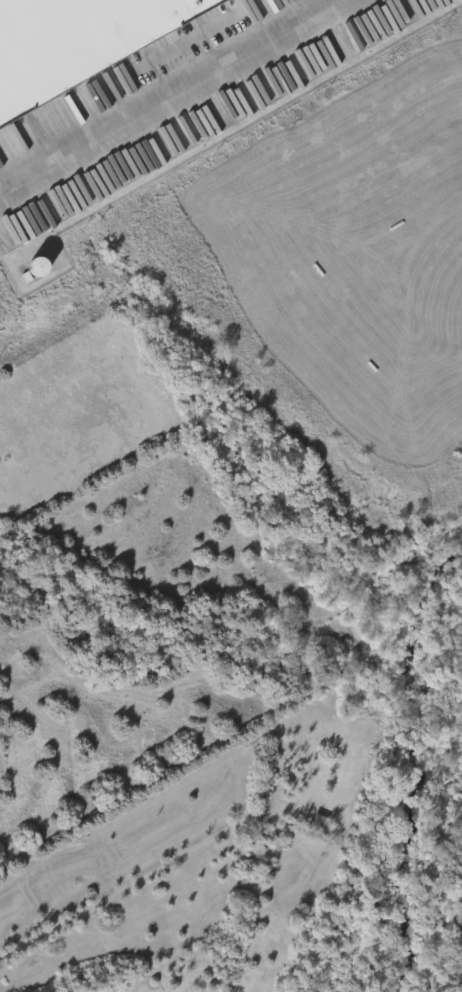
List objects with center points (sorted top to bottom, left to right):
building: (74, 42)
building: (287, 84)
building: (263, 90)
road: (168, 96)

